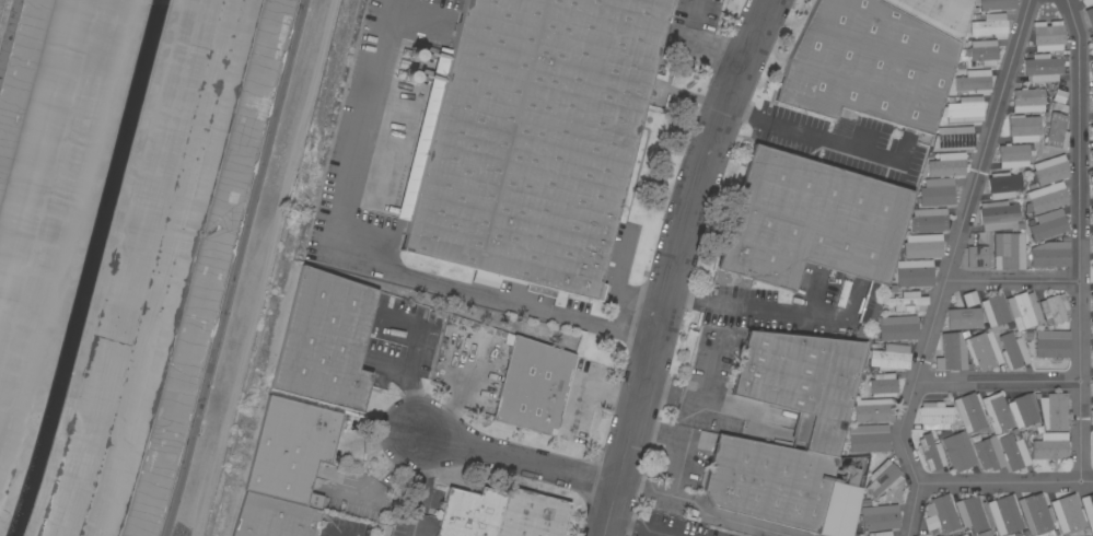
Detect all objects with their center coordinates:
building: (1085, 2)
building: (996, 4)
building: (937, 13)
building: (1090, 16)
building: (989, 25)
building: (1048, 35)
building: (1091, 40)
road: (699, 46)
building: (984, 51)
building: (868, 65)
building: (1043, 68)
building: (1091, 69)
building: (974, 81)
building: (1059, 96)
building: (1027, 100)
building: (1092, 100)
building: (965, 109)
building: (1092, 121)
building: (1023, 128)
building: (1091, 129)
building: (1056, 131)
road: (812, 136)
building: (954, 138)
building: (530, 139)
building: (1091, 153)
building: (1013, 155)
building: (946, 164)
building: (1050, 170)
building: (1091, 183)
building: (1003, 185)
building: (940, 189)
building: (1046, 197)
building: (998, 214)
building: (1092, 215)
building: (929, 220)
building: (811, 221)
building: (1049, 223)
building: (1091, 238)
road: (1079, 240)
building: (921, 246)
building: (1009, 250)
building: (1050, 255)
building: (977, 257)
road: (684, 265)
building: (1092, 267)
road: (234, 268)
road: (949, 268)
river: (90, 269)
road: (386, 272)
building: (912, 277)
road: (1012, 279)
building: (1091, 298)
building: (969, 299)
building: (907, 301)
road: (733, 303)
building: (871, 304)
building: (1054, 308)
building: (995, 310)
building: (1024, 311)
building: (963, 318)
building: (1092, 324)
building: (898, 328)
building: (863, 333)
building: (325, 341)
building: (1049, 346)
building: (982, 350)
building: (1013, 351)
building: (1092, 351)
building: (952, 352)
building: (1092, 356)
building: (889, 357)
road: (997, 381)
building: (1092, 382)
building: (801, 383)
building: (533, 385)
building: (883, 385)
road: (617, 395)
road: (689, 399)
road: (453, 406)
building: (1092, 407)
building: (872, 410)
building: (1022, 410)
building: (1054, 411)
building: (996, 412)
building: (970, 413)
building: (1092, 413)
building: (934, 416)
building: (865, 438)
building: (1050, 446)
building: (291, 450)
building: (958, 452)
building: (1013, 452)
building: (931, 453)
building: (989, 453)
road: (682, 463)
road: (516, 464)
building: (883, 478)
building: (769, 481)
road: (1005, 482)
building: (840, 506)
building: (1088, 510)
building: (470, 513)
building: (970, 513)
building: (1035, 513)
building: (531, 514)
building: (1005, 514)
building: (1068, 514)
building: (941, 515)
building: (274, 517)
building: (880, 517)
road: (637, 528)
building: (881, 534)
building: (963, 535)

